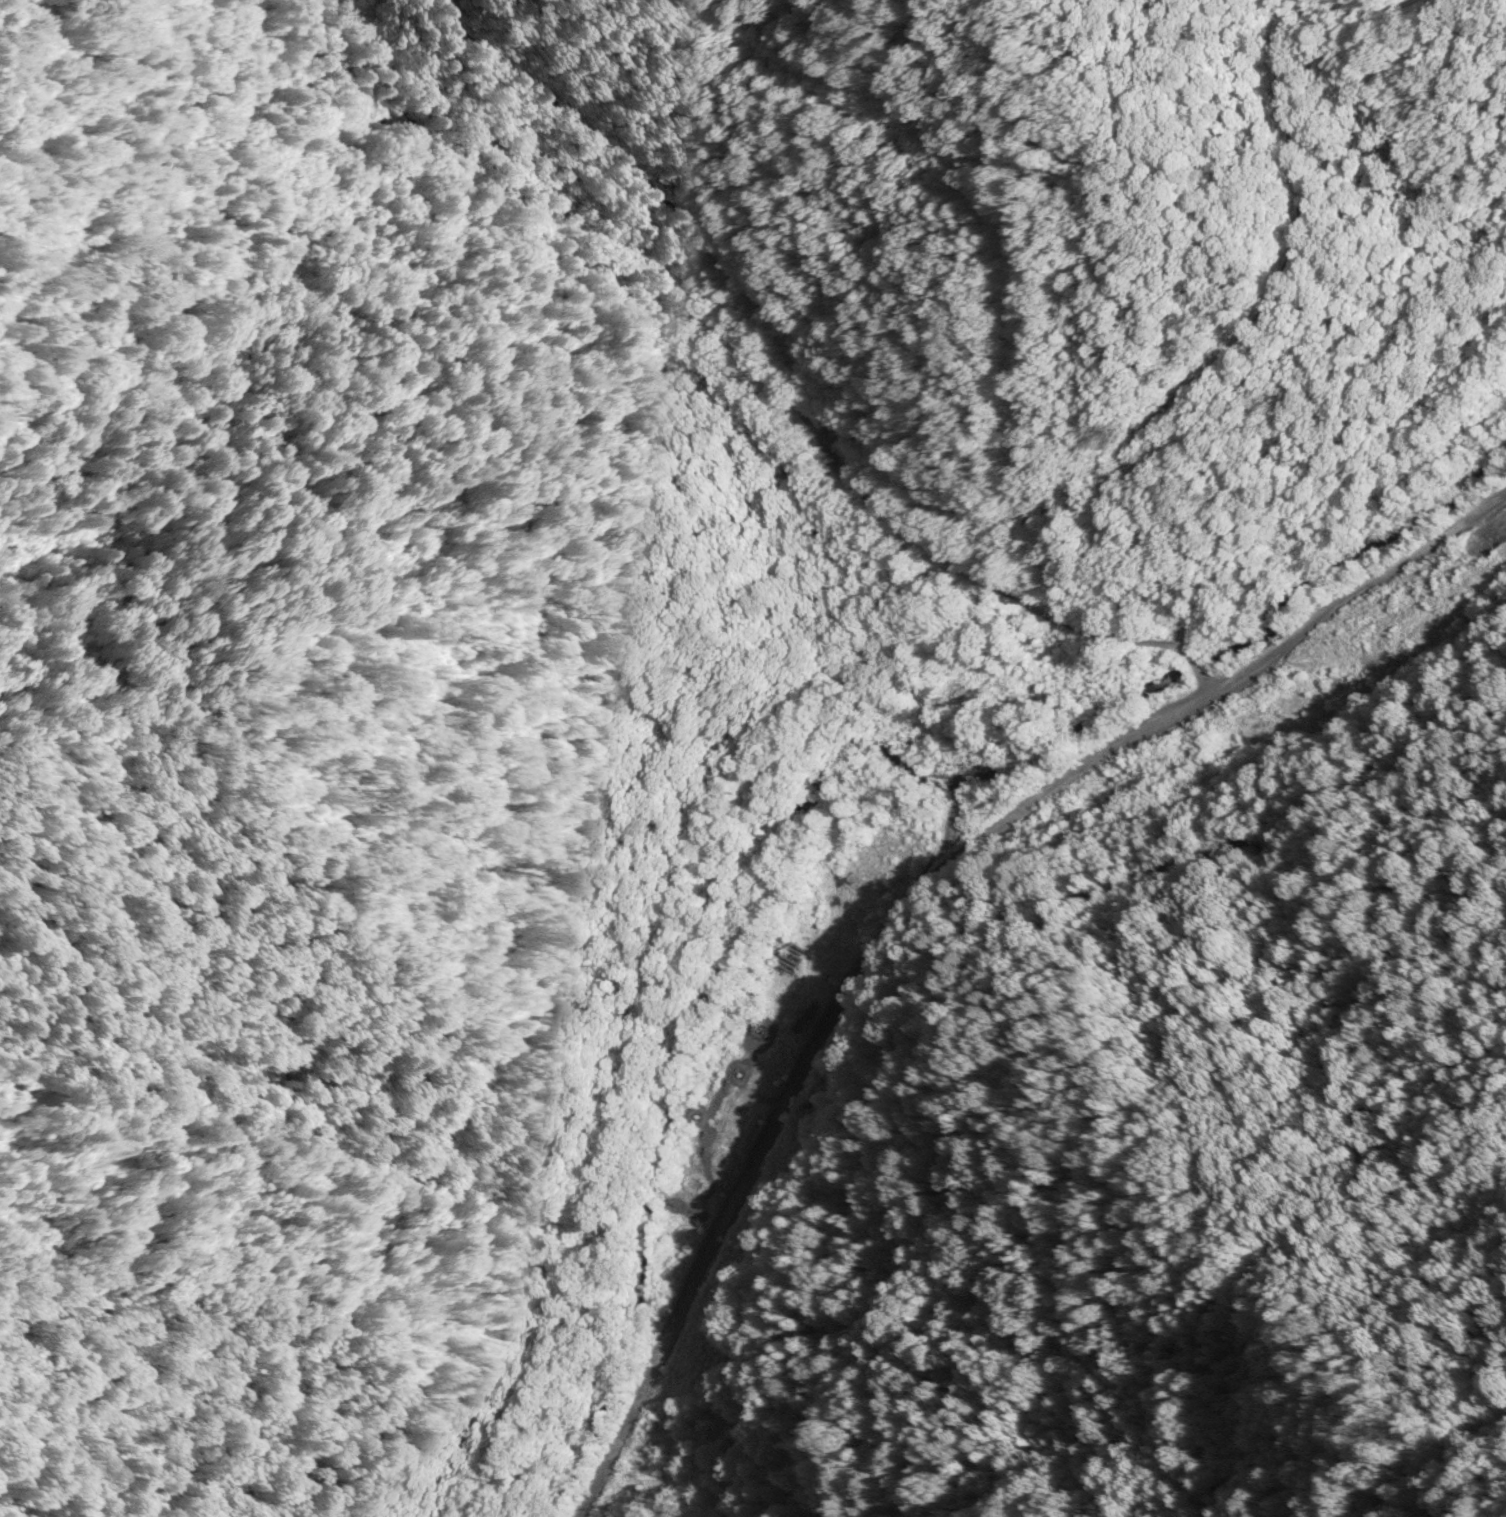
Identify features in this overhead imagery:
road: (722, 416)
road: (933, 912)
road: (1263, 1378)

